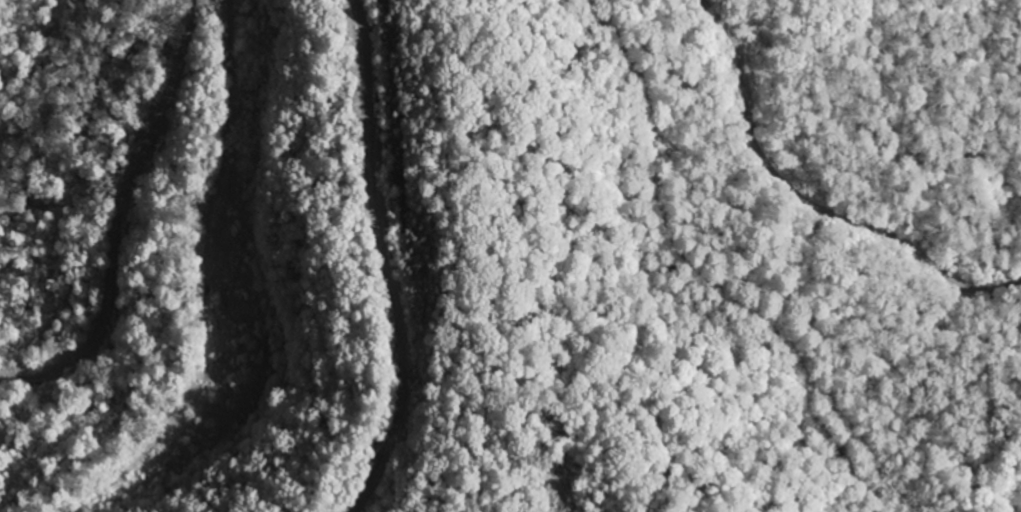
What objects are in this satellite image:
road: (813, 197)
road: (126, 217)

